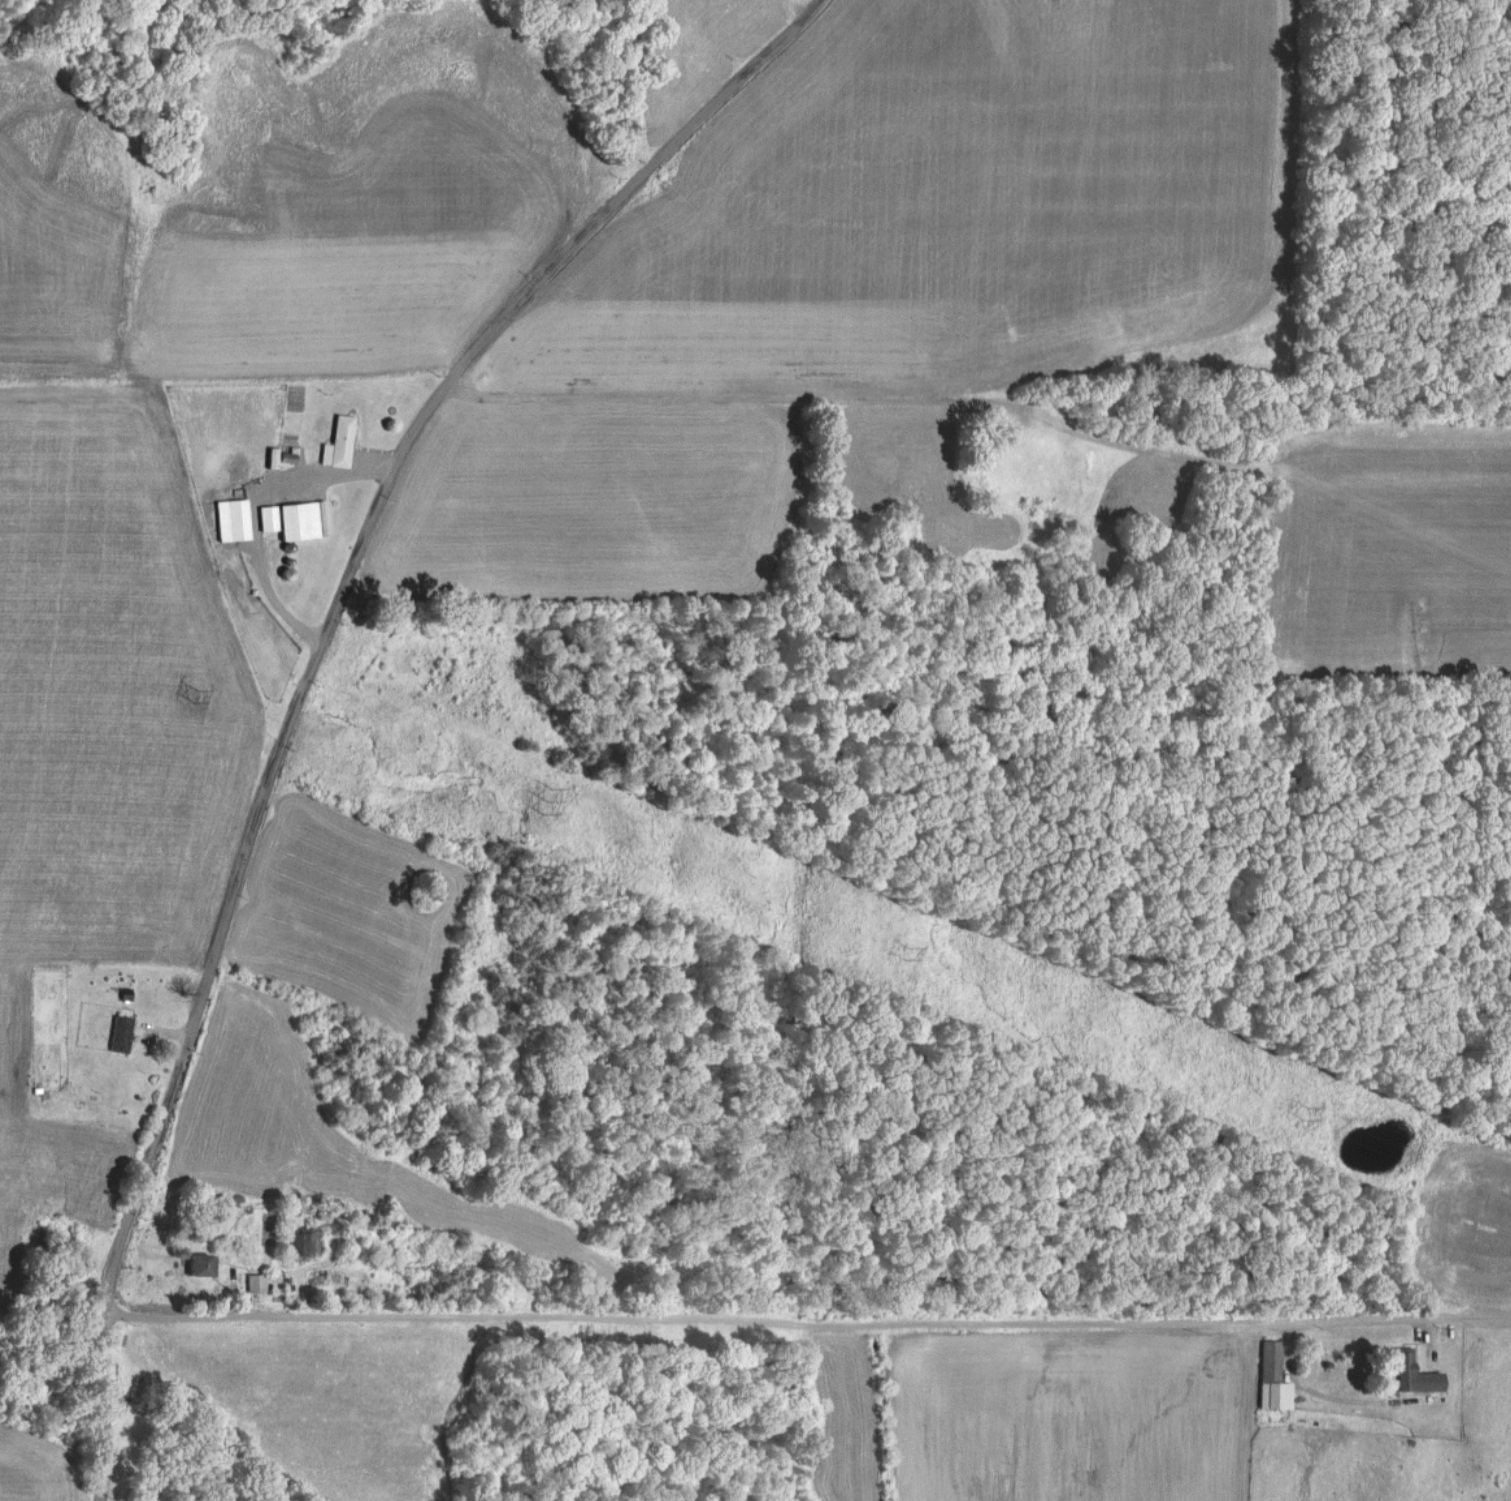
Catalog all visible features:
road: (709, 421)
building: (339, 441)
building: (268, 517)
building: (233, 518)
road: (254, 518)
road: (306, 674)
power tower: (194, 695)
power tower: (541, 801)
power tower: (902, 955)
building: (120, 1033)
power tower: (1301, 1113)
building: (201, 1264)
building: (255, 1281)
road: (807, 1335)
building: (1414, 1373)
building: (1273, 1377)

